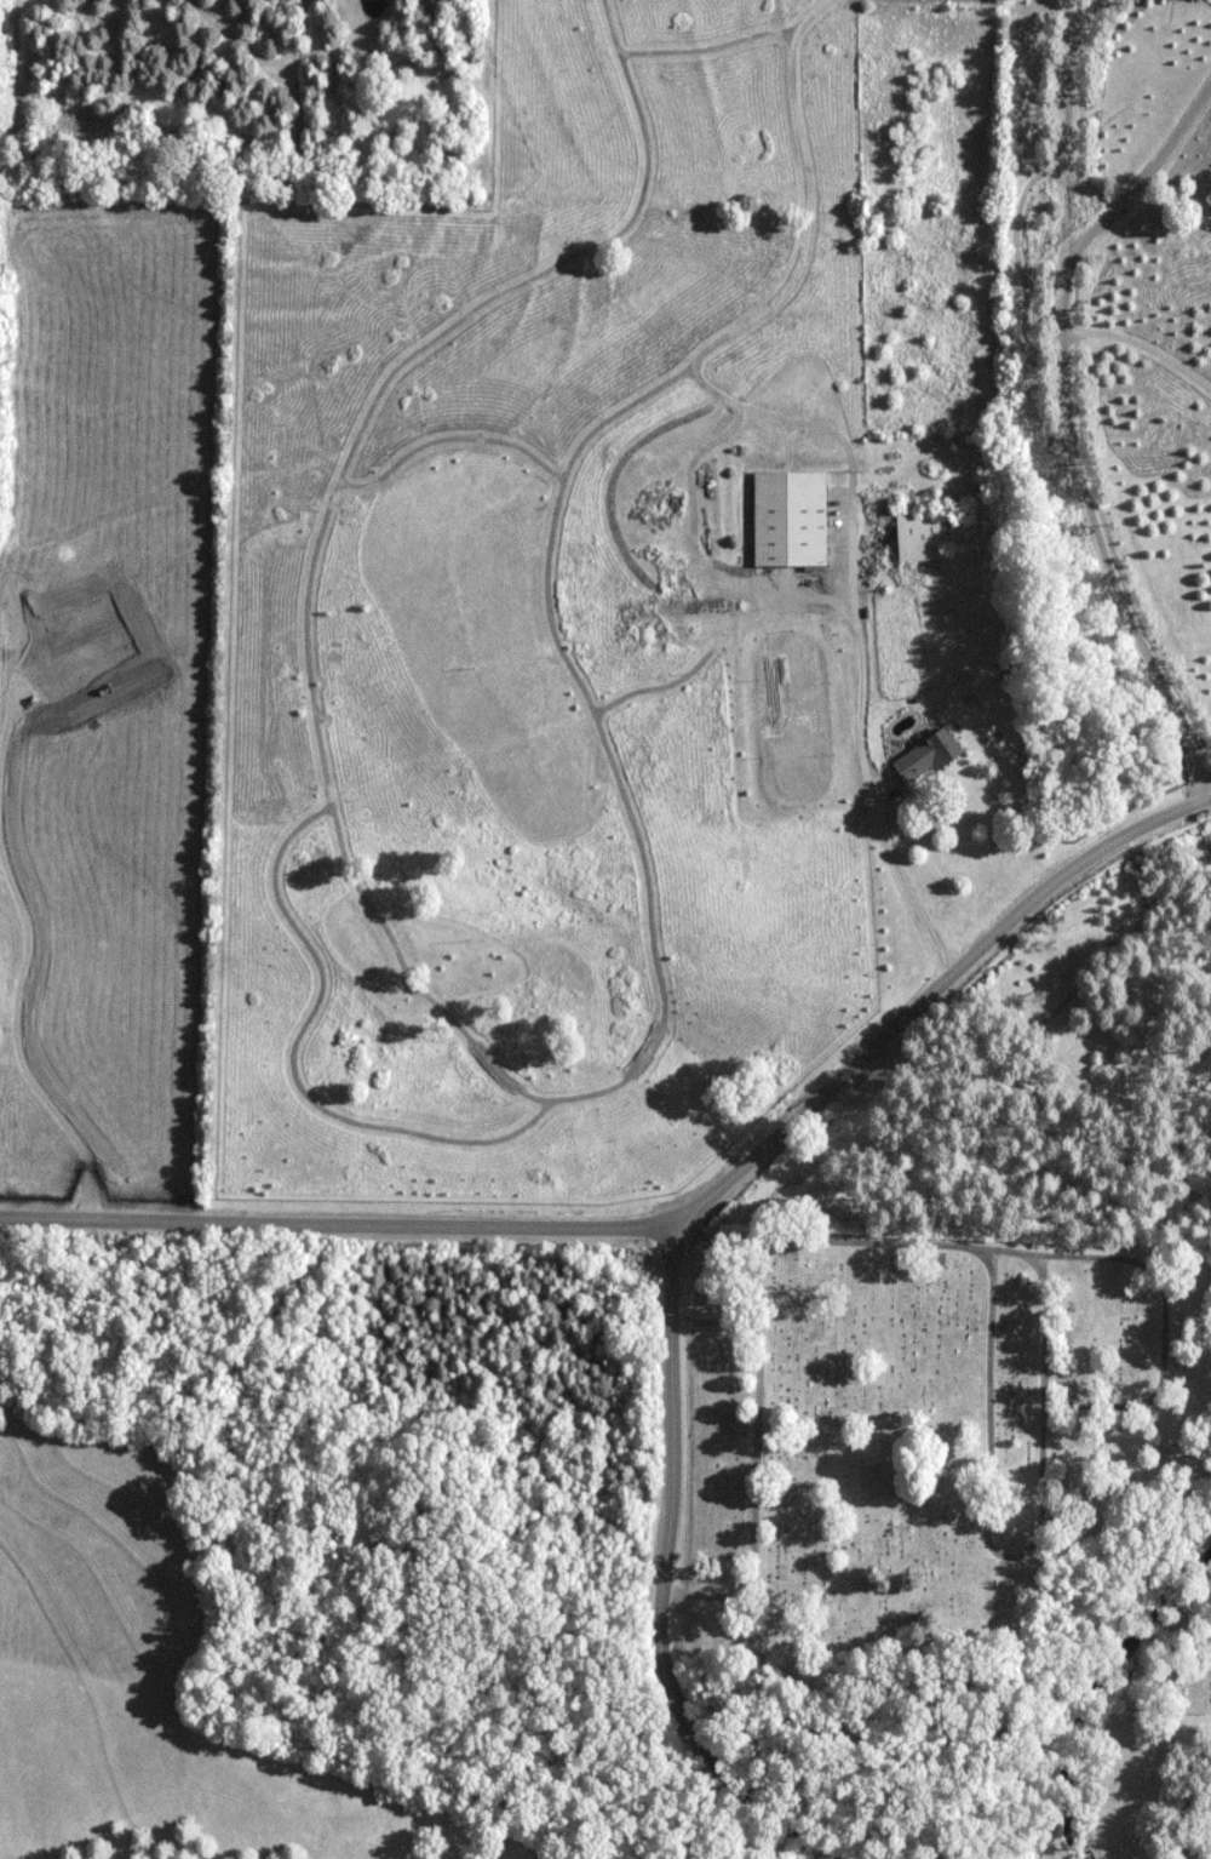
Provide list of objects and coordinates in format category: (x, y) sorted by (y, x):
road: (1071, 421)
building: (791, 519)
building: (920, 537)
building: (642, 619)
road: (861, 697)
building: (928, 756)
road: (338, 1219)
road: (676, 1232)
road: (1035, 1251)

